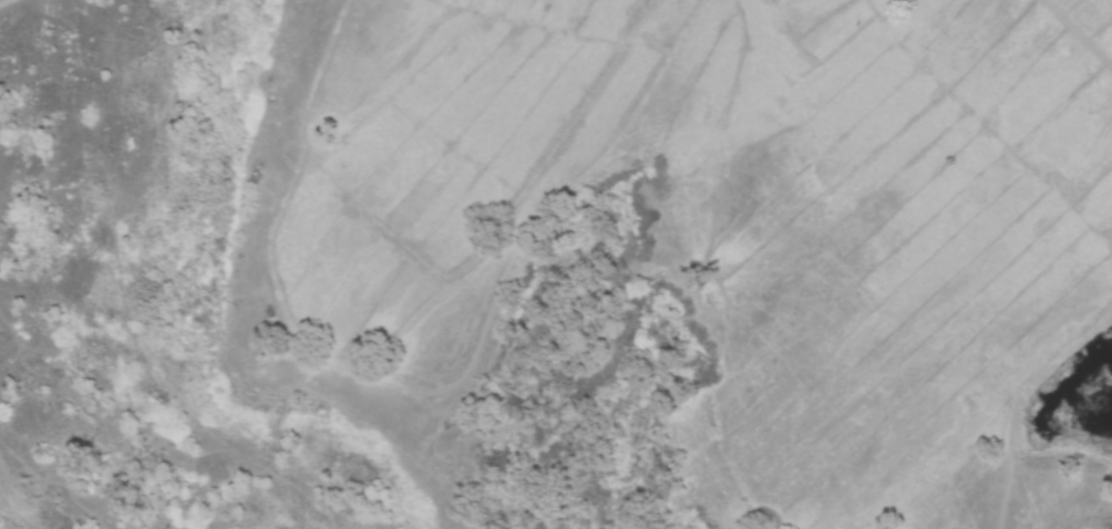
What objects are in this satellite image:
road: (13, 4)

